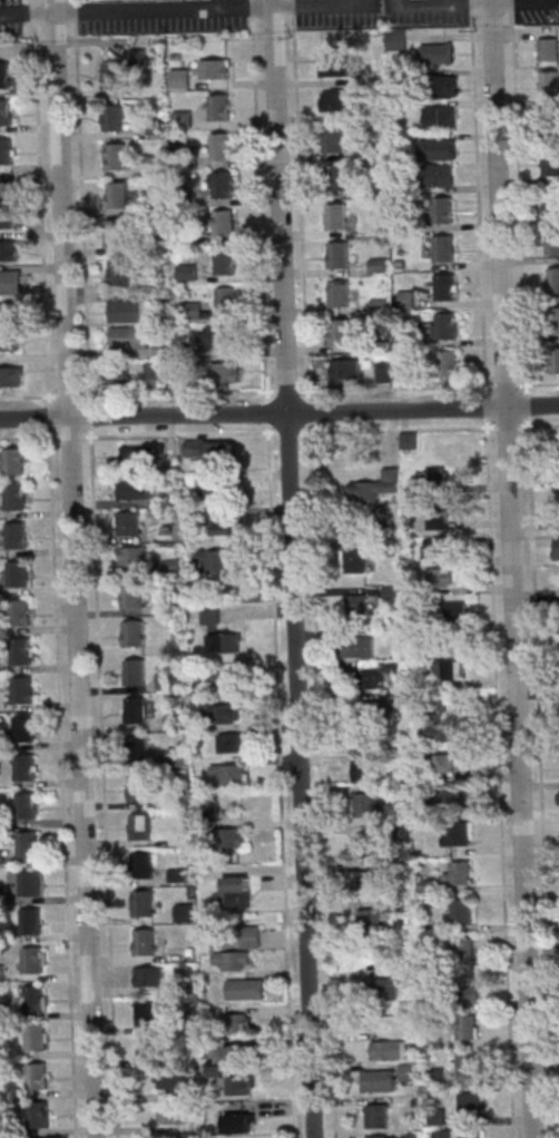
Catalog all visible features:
road: (511, 0)
road: (533, 0)
road: (414, 1)
road: (502, 1)
road: (326, 3)
road: (30, 13)
road: (167, 13)
building: (396, 40)
building: (548, 49)
building: (435, 52)
building: (331, 66)
building: (215, 68)
building: (4, 75)
building: (111, 75)
building: (179, 77)
building: (549, 82)
building: (447, 86)
building: (335, 100)
building: (219, 106)
building: (7, 111)
building: (440, 116)
building: (112, 117)
building: (183, 118)
building: (333, 138)
building: (222, 145)
building: (438, 148)
building: (7, 149)
building: (116, 155)
building: (550, 163)
building: (438, 176)
building: (334, 177)
building: (224, 184)
building: (7, 190)
road: (478, 192)
building: (118, 194)
road: (519, 196)
road: (300, 198)
road: (259, 199)
building: (551, 202)
building: (443, 208)
building: (336, 216)
building: (224, 223)
building: (119, 233)
building: (552, 241)
building: (444, 247)
building: (9, 249)
building: (337, 254)
building: (226, 261)
building: (119, 272)
building: (553, 279)
building: (10, 281)
building: (445, 286)
building: (341, 297)
building: (226, 298)
building: (126, 308)
building: (192, 310)
building: (9, 312)
building: (553, 320)
building: (444, 324)
building: (341, 331)
building: (129, 336)
building: (217, 336)
building: (9, 340)
building: (555, 360)
building: (449, 363)
building: (346, 369)
building: (383, 369)
building: (226, 371)
building: (154, 372)
building: (11, 375)
building: (122, 379)
road: (539, 383)
road: (396, 385)
road: (177, 392)
road: (278, 414)
road: (179, 433)
road: (28, 435)
building: (409, 440)
building: (558, 443)
building: (208, 448)
building: (137, 455)
building: (12, 461)
building: (558, 478)
building: (433, 480)
building: (377, 485)
building: (135, 489)
building: (215, 493)
building: (16, 496)
building: (438, 520)
building: (128, 522)
building: (229, 524)
building: (17, 534)
building: (435, 546)
building: (135, 556)
building: (216, 559)
building: (355, 560)
road: (512, 568)
road: (75, 569)
road: (292, 569)
building: (19, 572)
building: (443, 576)
building: (133, 593)
building: (357, 606)
building: (457, 610)
building: (20, 611)
building: (133, 632)
building: (219, 634)
building: (359, 646)
building: (22, 650)
building: (450, 669)
building: (135, 670)
building: (371, 678)
building: (168, 679)
building: (226, 680)
building: (21, 688)
building: (136, 709)
building: (225, 714)
building: (24, 727)
building: (442, 732)
building: (232, 742)
building: (138, 748)
building: (176, 755)
building: (451, 763)
building: (26, 766)
building: (369, 769)
building: (231, 773)
road: (281, 778)
road: (61, 783)
building: (139, 787)
building: (453, 795)
building: (366, 804)
building: (27, 805)
building: (141, 825)
building: (457, 836)
building: (233, 837)
building: (370, 838)
building: (28, 843)
building: (143, 864)
building: (458, 872)
building: (372, 880)
building: (31, 882)
building: (234, 891)
building: (144, 902)
building: (462, 911)
building: (185, 912)
building: (32, 920)
building: (370, 920)
building: (251, 936)
building: (145, 941)
building: (464, 949)
building: (35, 959)
building: (232, 960)
building: (149, 975)
building: (393, 985)
building: (245, 988)
building: (467, 990)
building: (36, 998)
building: (146, 1013)
building: (238, 1022)
building: (468, 1027)
building: (37, 1037)
building: (147, 1048)
building: (389, 1049)
building: (233, 1052)
building: (464, 1065)
building: (409, 1071)
building: (37, 1075)
building: (170, 1079)
building: (379, 1080)
building: (229, 1081)
building: (469, 1101)
building: (38, 1114)
building: (171, 1114)
building: (377, 1115)
building: (239, 1122)
building: (442, 1134)
building: (471, 1135)
building: (380, 1136)

